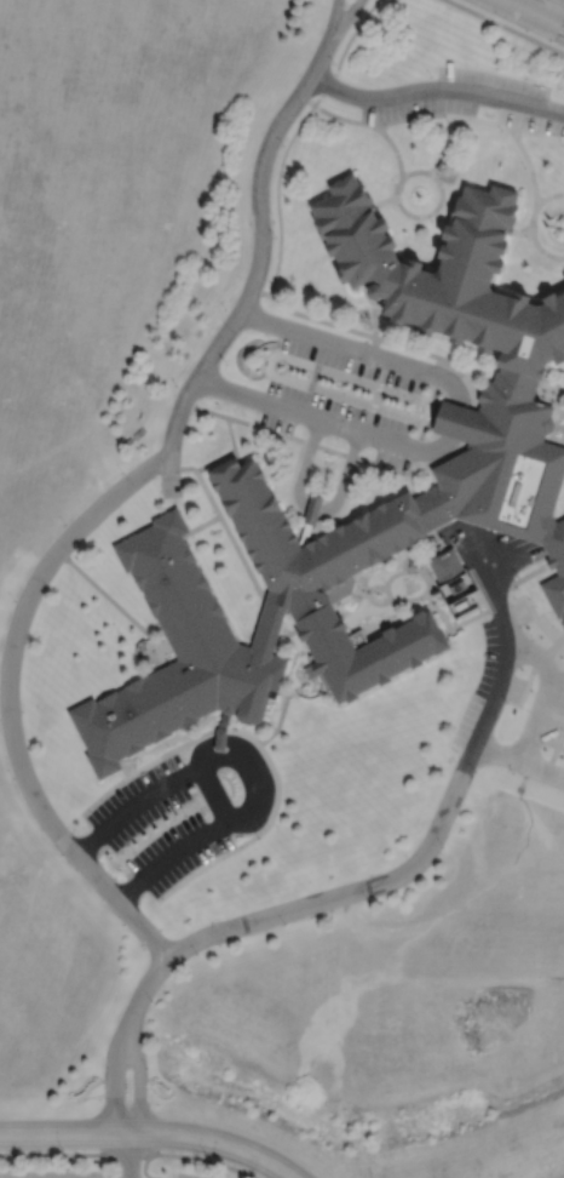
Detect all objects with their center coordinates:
park: (557, 2)
road: (535, 13)
road: (332, 17)
road: (344, 17)
road: (505, 27)
road: (436, 88)
road: (290, 136)
building: (447, 276)
road: (357, 350)
road: (556, 385)
road: (321, 419)
road: (455, 423)
road: (304, 463)
building: (507, 469)
road: (344, 474)
road: (312, 508)
road: (559, 516)
road: (73, 532)
building: (444, 564)
building: (334, 573)
building: (563, 625)
building: (182, 654)
road: (541, 714)
road: (251, 766)
road: (213, 795)
road: (437, 828)
road: (114, 1082)
road: (138, 1082)
road: (151, 1133)
road: (127, 1155)
road: (128, 1155)
road: (104, 1166)
road: (143, 1167)
street lamp: (10, 1168)

